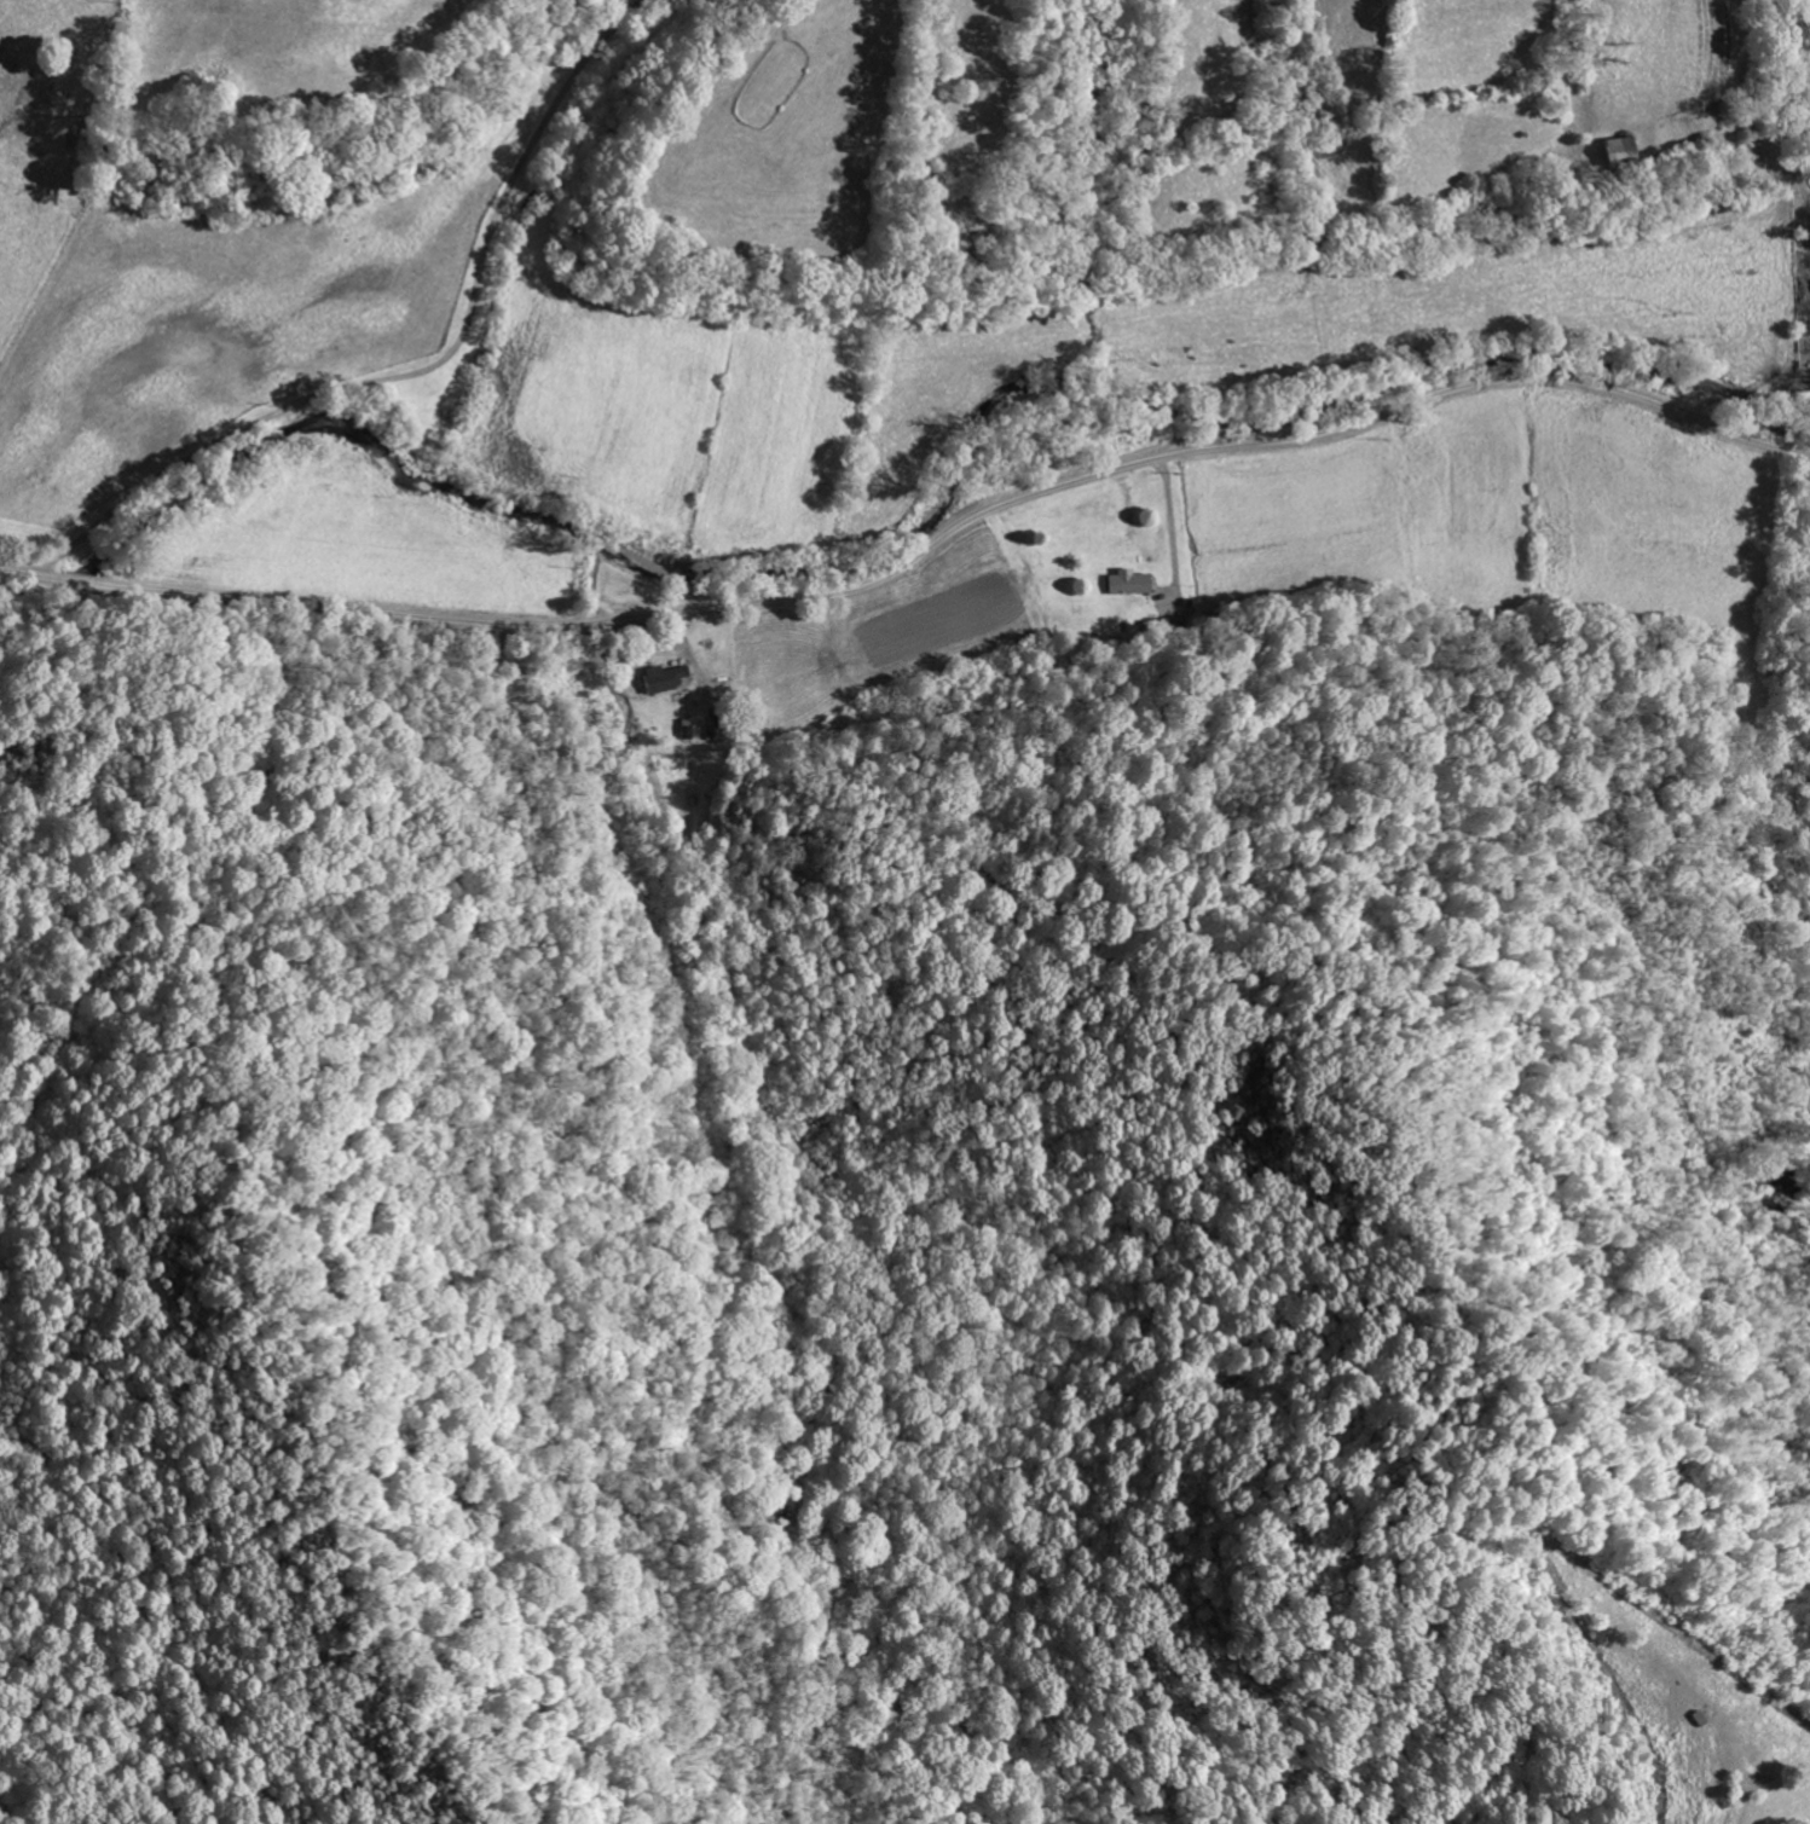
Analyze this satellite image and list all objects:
building: (1623, 152)
road: (919, 557)
building: (1132, 583)
building: (665, 679)

